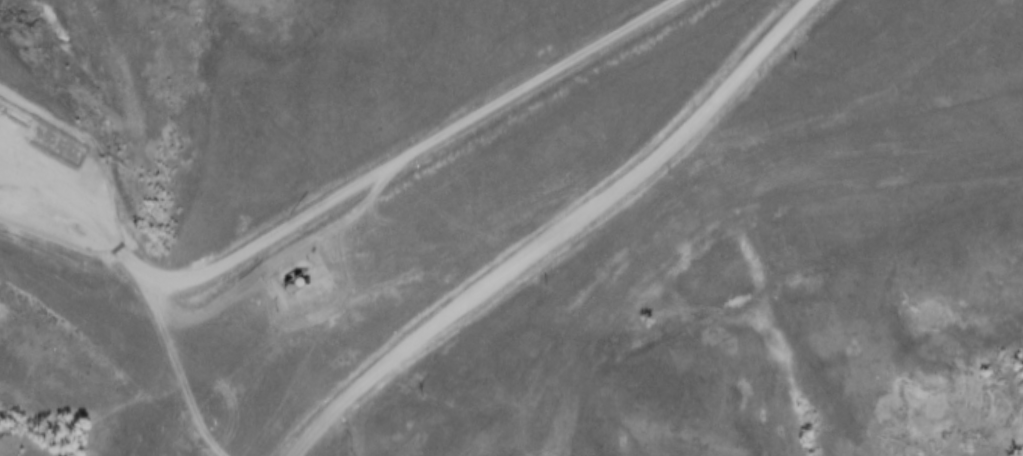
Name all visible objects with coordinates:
road: (333, 201)
road: (559, 235)
road: (173, 375)

